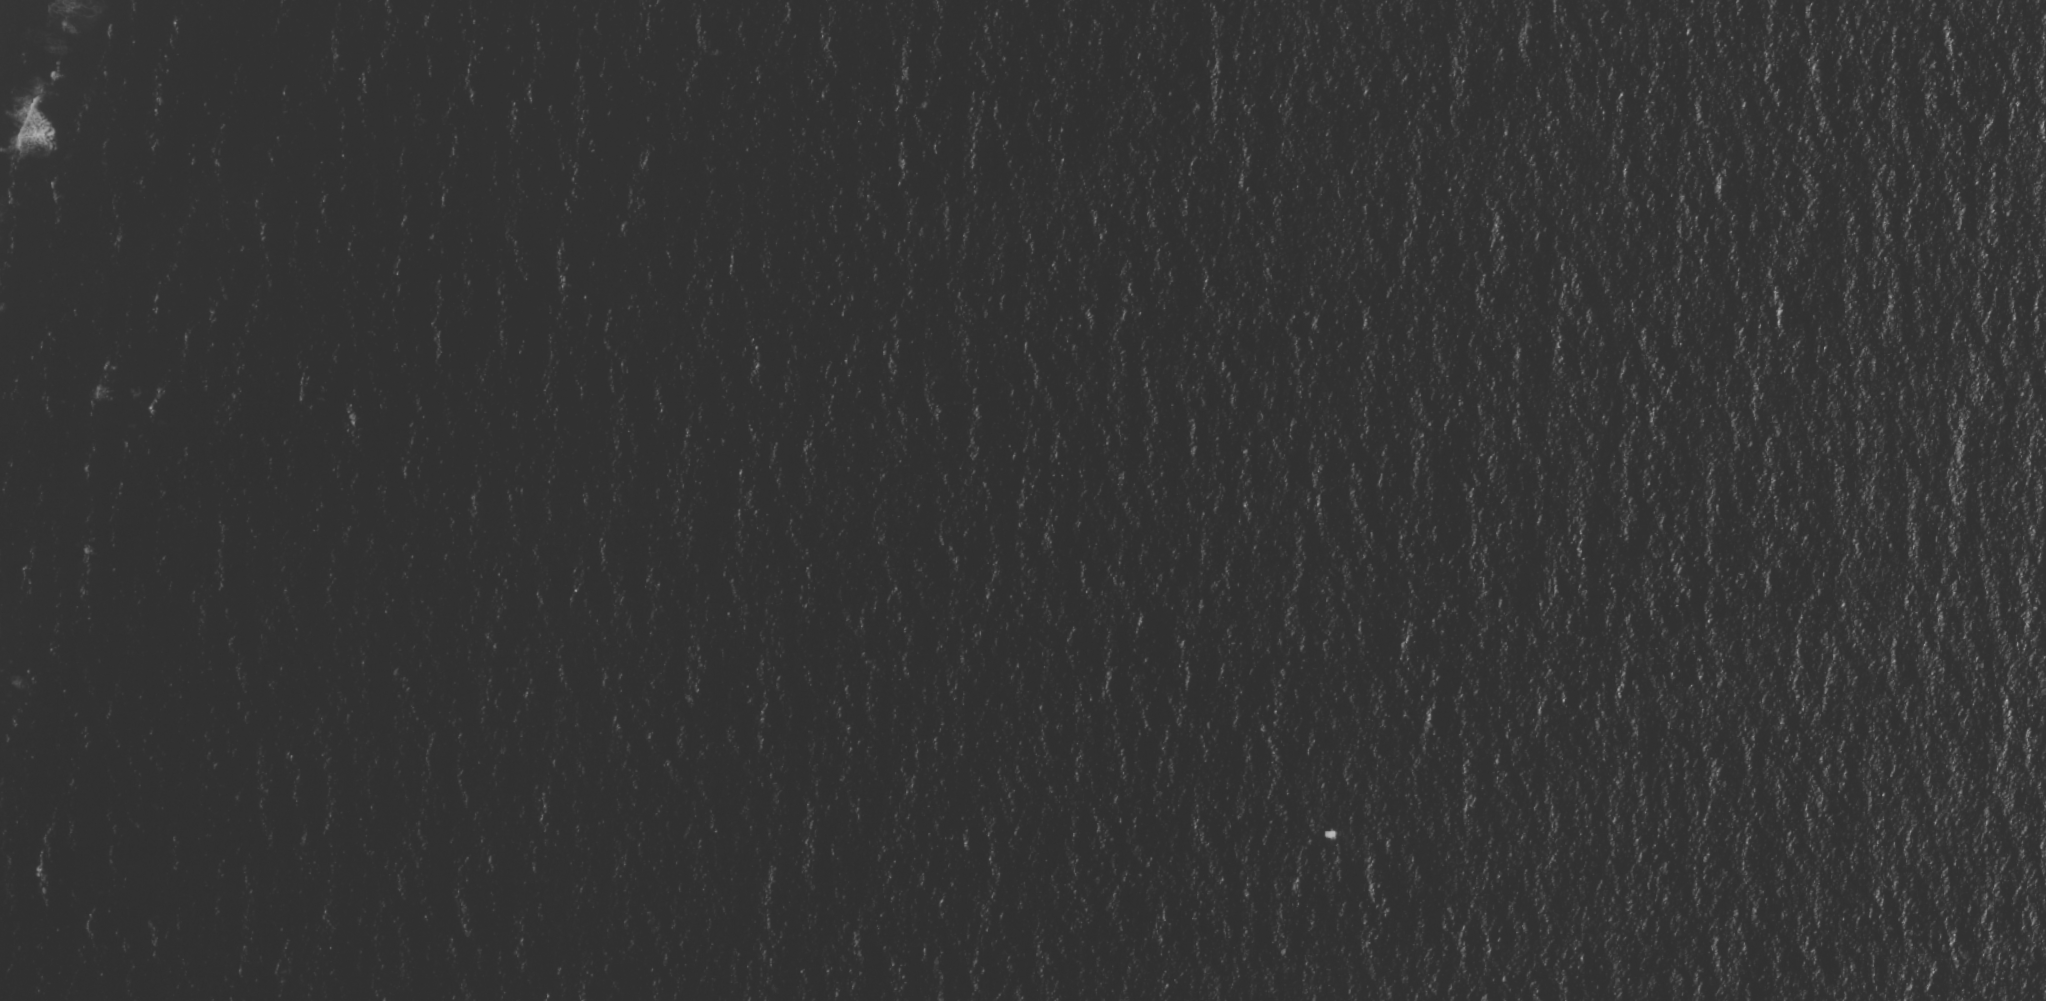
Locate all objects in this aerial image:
park: (50, 94)

